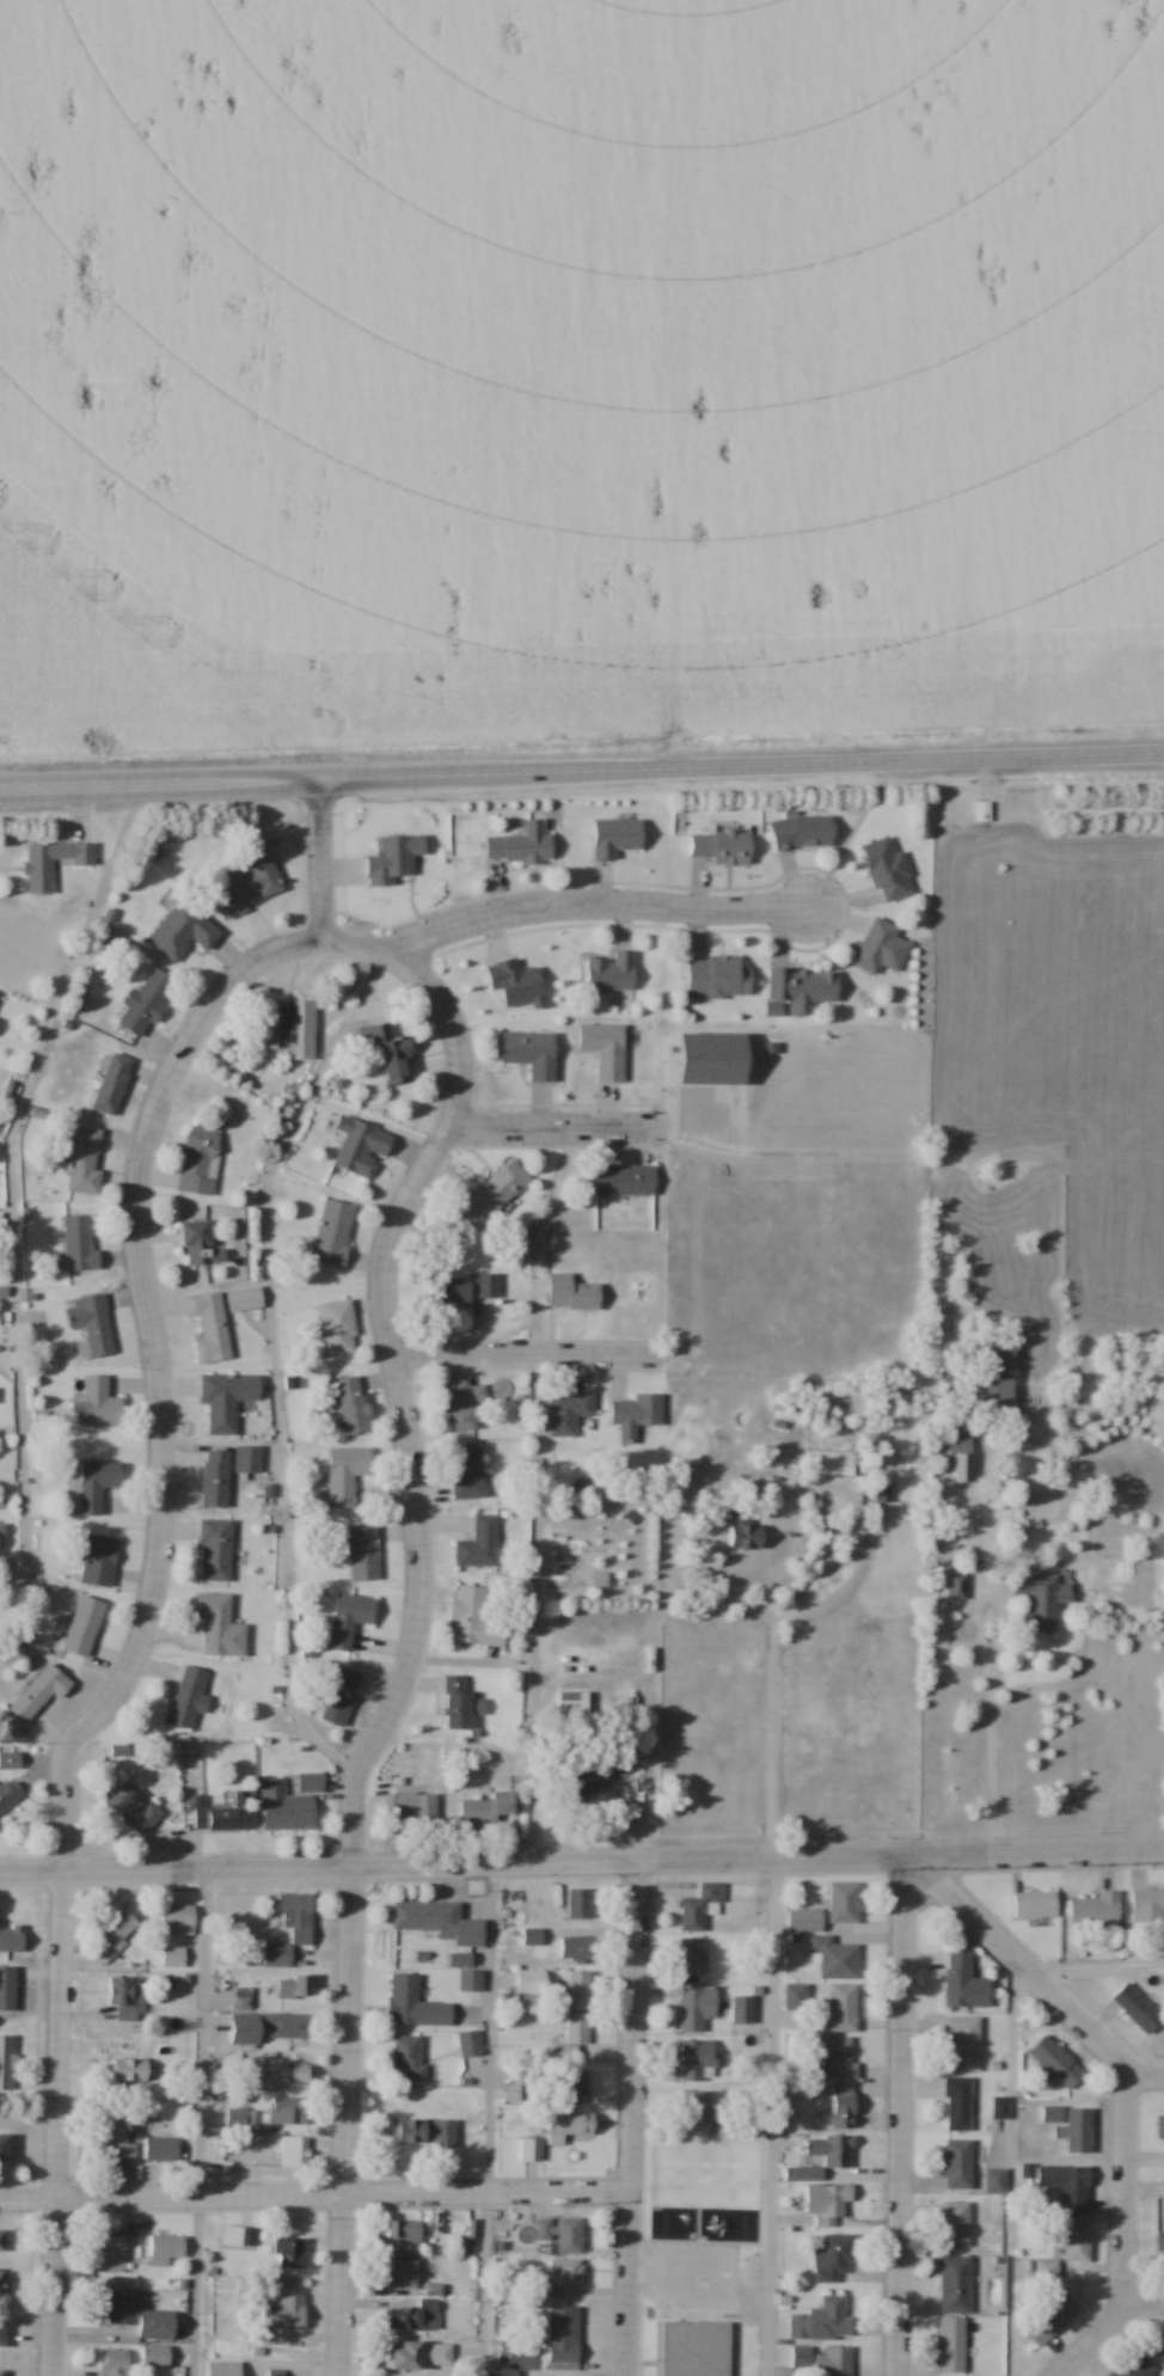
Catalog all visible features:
road: (896, 761)
road: (473, 773)
road: (158, 779)
building: (984, 812)
building: (803, 833)
building: (617, 837)
building: (522, 845)
building: (722, 846)
road: (319, 858)
building: (394, 858)
building: (51, 863)
building: (889, 870)
building: (250, 884)
road: (593, 906)
building: (183, 932)
building: (882, 949)
building: (612, 972)
building: (717, 976)
building: (517, 984)
building: (803, 985)
building: (146, 1003)
building: (290, 1027)
building: (606, 1049)
building: (532, 1053)
building: (391, 1054)
building: (112, 1083)
road: (551, 1127)
building: (362, 1149)
building: (200, 1161)
building: (85, 1162)
road: (16, 1178)
building: (625, 1180)
building: (494, 1194)
building: (333, 1232)
building: (200, 1243)
building: (79, 1244)
building: (473, 1287)
building: (572, 1293)
building: (246, 1299)
building: (91, 1325)
building: (210, 1327)
building: (338, 1328)
road: (519, 1353)
road: (271, 1360)
building: (998, 1373)
road: (154, 1378)
building: (227, 1398)
building: (100, 1402)
building: (464, 1402)
building: (353, 1406)
building: (568, 1413)
building: (637, 1415)
building: (247, 1458)
building: (963, 1458)
building: (467, 1472)
building: (347, 1474)
building: (215, 1480)
building: (93, 1486)
road: (759, 1487)
building: (1036, 1492)
building: (746, 1532)
building: (0, 1541)
building: (479, 1544)
building: (216, 1549)
building: (363, 1553)
building: (99, 1560)
building: (600, 1580)
building: (957, 1587)
building: (1043, 1599)
road: (533, 1608)
road: (413, 1615)
building: (350, 1619)
building: (474, 1619)
building: (220, 1625)
building: (82, 1627)
road: (968, 1627)
building: (39, 1692)
building: (342, 1695)
building: (189, 1698)
building: (461, 1703)
road: (771, 1741)
building: (10, 1760)
road: (987, 1768)
building: (311, 1782)
building: (588, 1783)
building: (10, 1793)
building: (134, 1807)
building: (411, 1807)
building: (286, 1808)
building: (488, 1809)
building: (221, 1813)
road: (581, 1861)
building: (844, 1903)
building: (580, 1904)
building: (699, 1905)
building: (1147, 1906)
building: (1035, 1907)
building: (1097, 1909)
building: (429, 1918)
building: (178, 1919)
building: (804, 1921)
building: (292, 1929)
building: (117, 1933)
building: (12, 1939)
building: (577, 1948)
building: (174, 1956)
building: (692, 1956)
building: (837, 1958)
road: (1095, 1966)
building: (531, 1983)
building: (964, 1983)
building: (577, 1986)
building: (7, 1989)
building: (299, 1989)
building: (125, 1998)
building: (416, 2004)
building: (697, 2008)
building: (845, 2008)
building: (1138, 2008)
building: (272, 2028)
building: (571, 2040)
building: (470, 2044)
building: (962, 2044)
building: (834, 2056)
building: (410, 2057)
building: (698, 2060)
building: (1058, 2062)
building: (6, 2063)
building: (128, 2070)
building: (287, 2074)
road: (1142, 2078)
road: (1123, 2087)
building: (574, 2088)
building: (958, 2105)
building: (693, 2106)
building: (844, 2107)
building: (1001, 2108)
building: (288, 2111)
building: (1053, 2114)
road: (629, 2117)
road: (770, 2117)
road: (899, 2117)
road: (489, 2119)
road: (200, 2121)
road: (54, 2124)
building: (1160, 2127)
building: (571, 2129)
building: (1078, 2130)
building: (425, 2133)
building: (118, 2145)
building: (5, 2148)
building: (161, 2148)
building: (532, 2150)
building: (831, 2150)
building: (295, 2153)
building: (958, 2164)
road: (1015, 2169)
road: (1141, 2187)
building: (1062, 2190)
road: (313, 2196)
building: (832, 2205)
building: (956, 2224)
building: (403, 2233)
building: (563, 2233)
building: (233, 2235)
building: (4, 2240)
building: (1079, 2242)
building: (166, 2248)
building: (1159, 2249)
building: (290, 2251)
building: (110, 2252)
building: (835, 2260)
building: (1047, 2270)
building: (569, 2271)
building: (403, 2273)
building: (4, 2282)
building: (956, 2285)
building: (435, 2288)
road: (1142, 2301)
building: (288, 2311)
building: (413, 2313)
building: (139, 2315)
building: (1053, 2320)
building: (823, 2322)
building: (4, 2332)
building: (563, 2335)
building: (954, 2345)
building: (697, 2347)
building: (421, 2354)
building: (157, 2356)
building: (523, 2360)
building: (114, 2362)
building: (835, 2362)
building: (1137, 2366)
building: (225, 2368)
building: (1, 2372)
building: (275, 2372)

